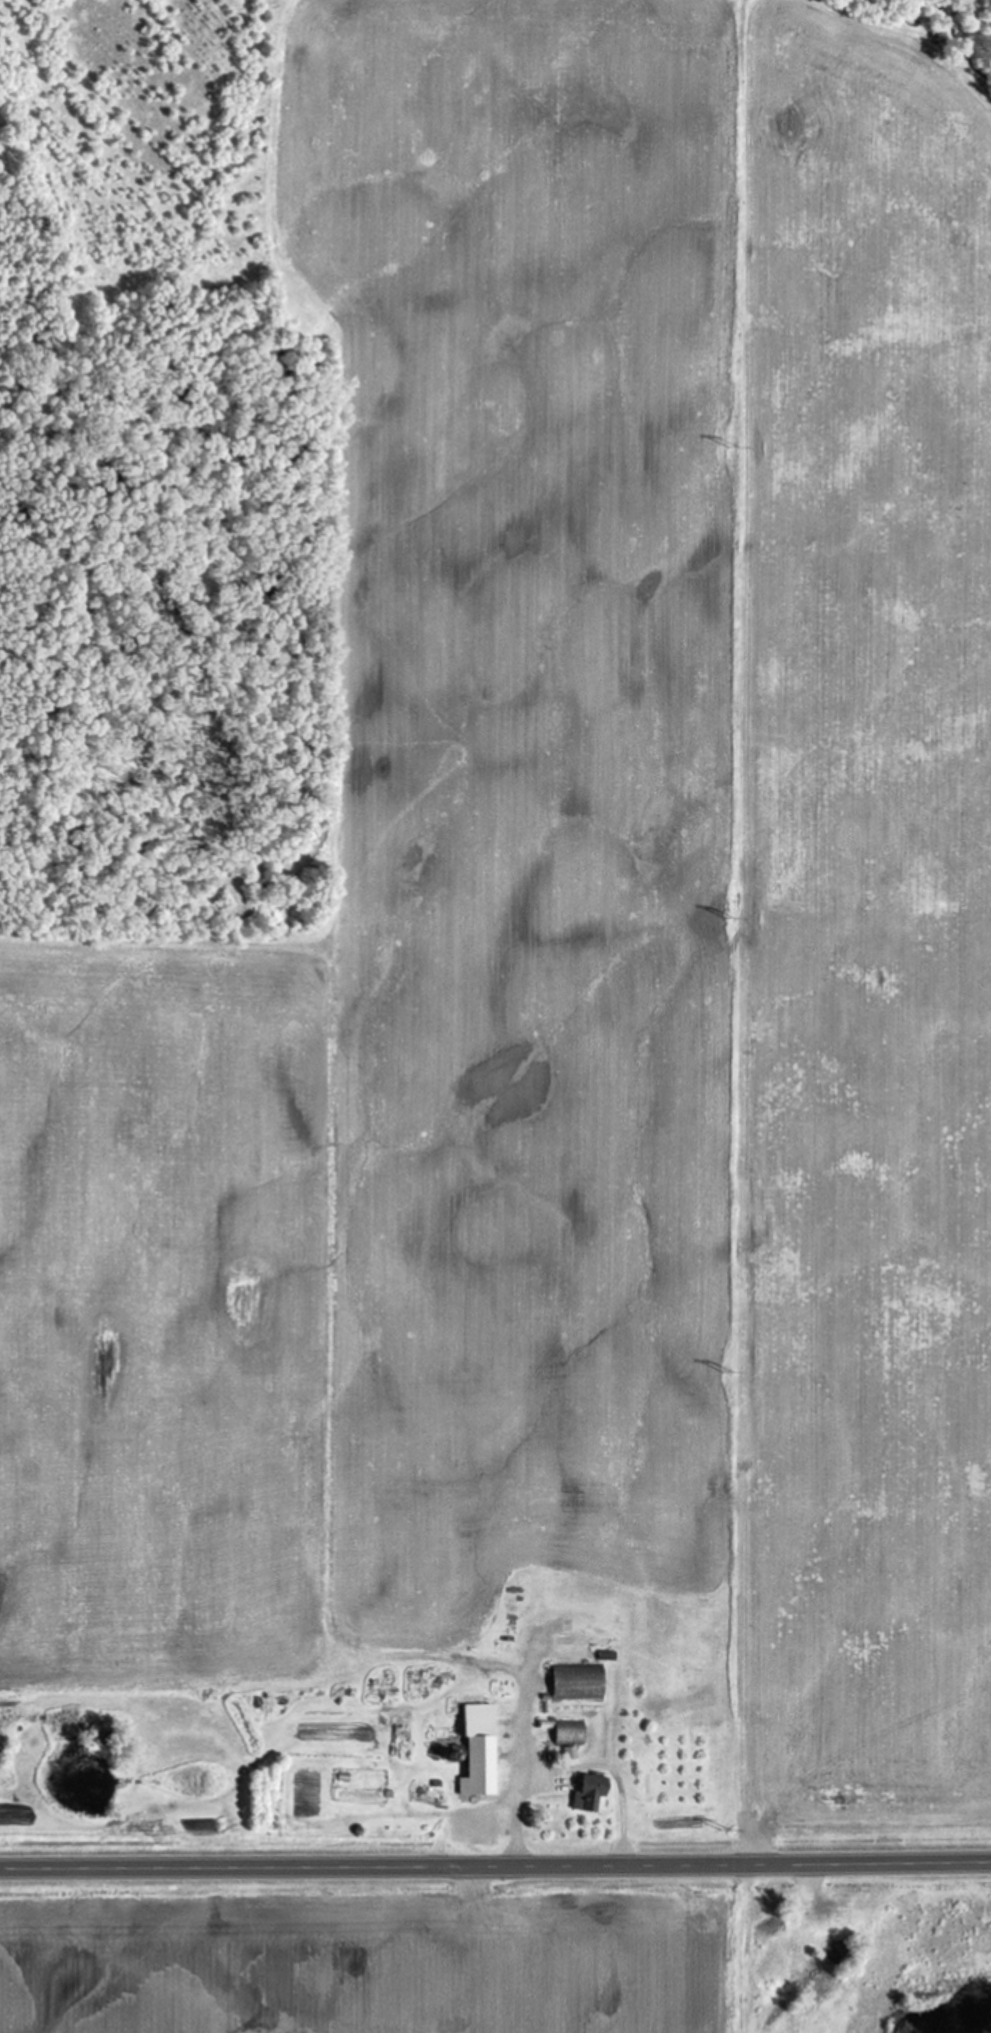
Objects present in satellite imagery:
power tower: (737, 444)
power tower: (734, 918)
power tower: (736, 1367)
building: (579, 1682)
building: (570, 1737)
building: (481, 1751)
road: (521, 1758)
building: (591, 1793)
power tower: (729, 1829)
road: (495, 1864)

